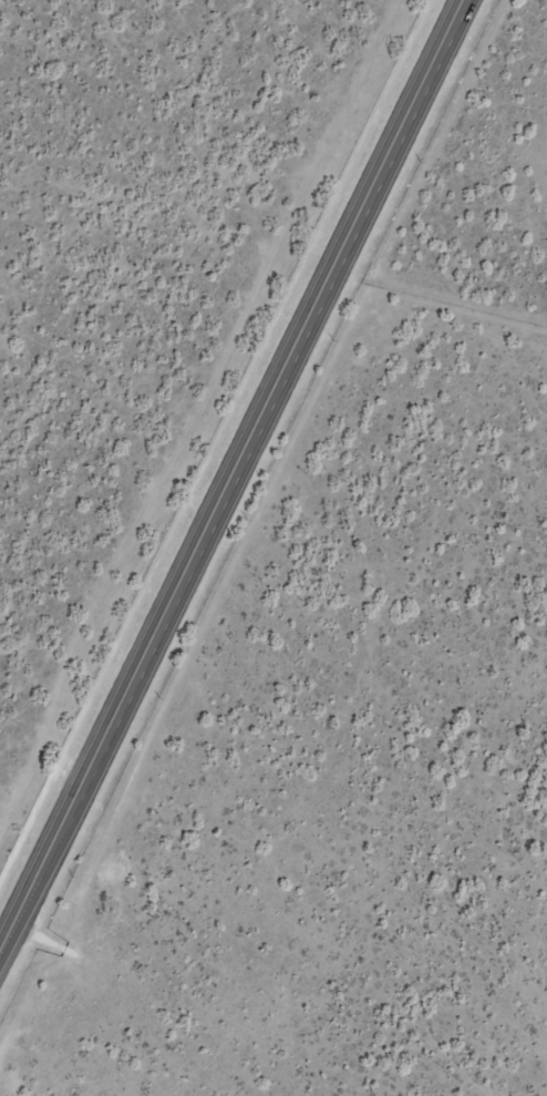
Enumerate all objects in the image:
road: (237, 485)

